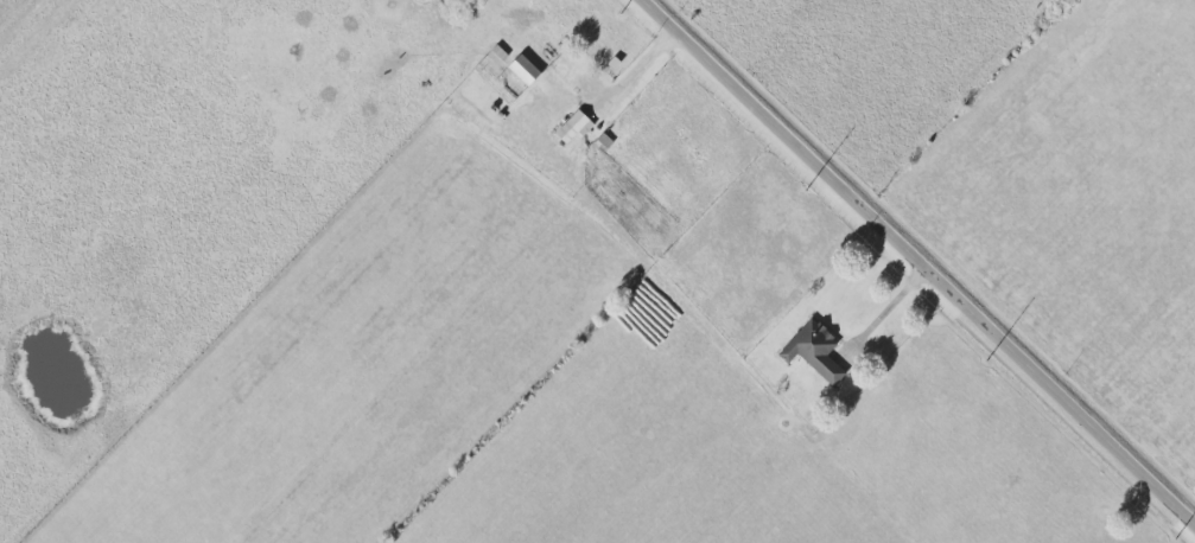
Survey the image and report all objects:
road: (38, 39)
building: (522, 69)
road: (638, 71)
building: (573, 126)
road: (923, 256)
road: (889, 308)
building: (813, 351)

